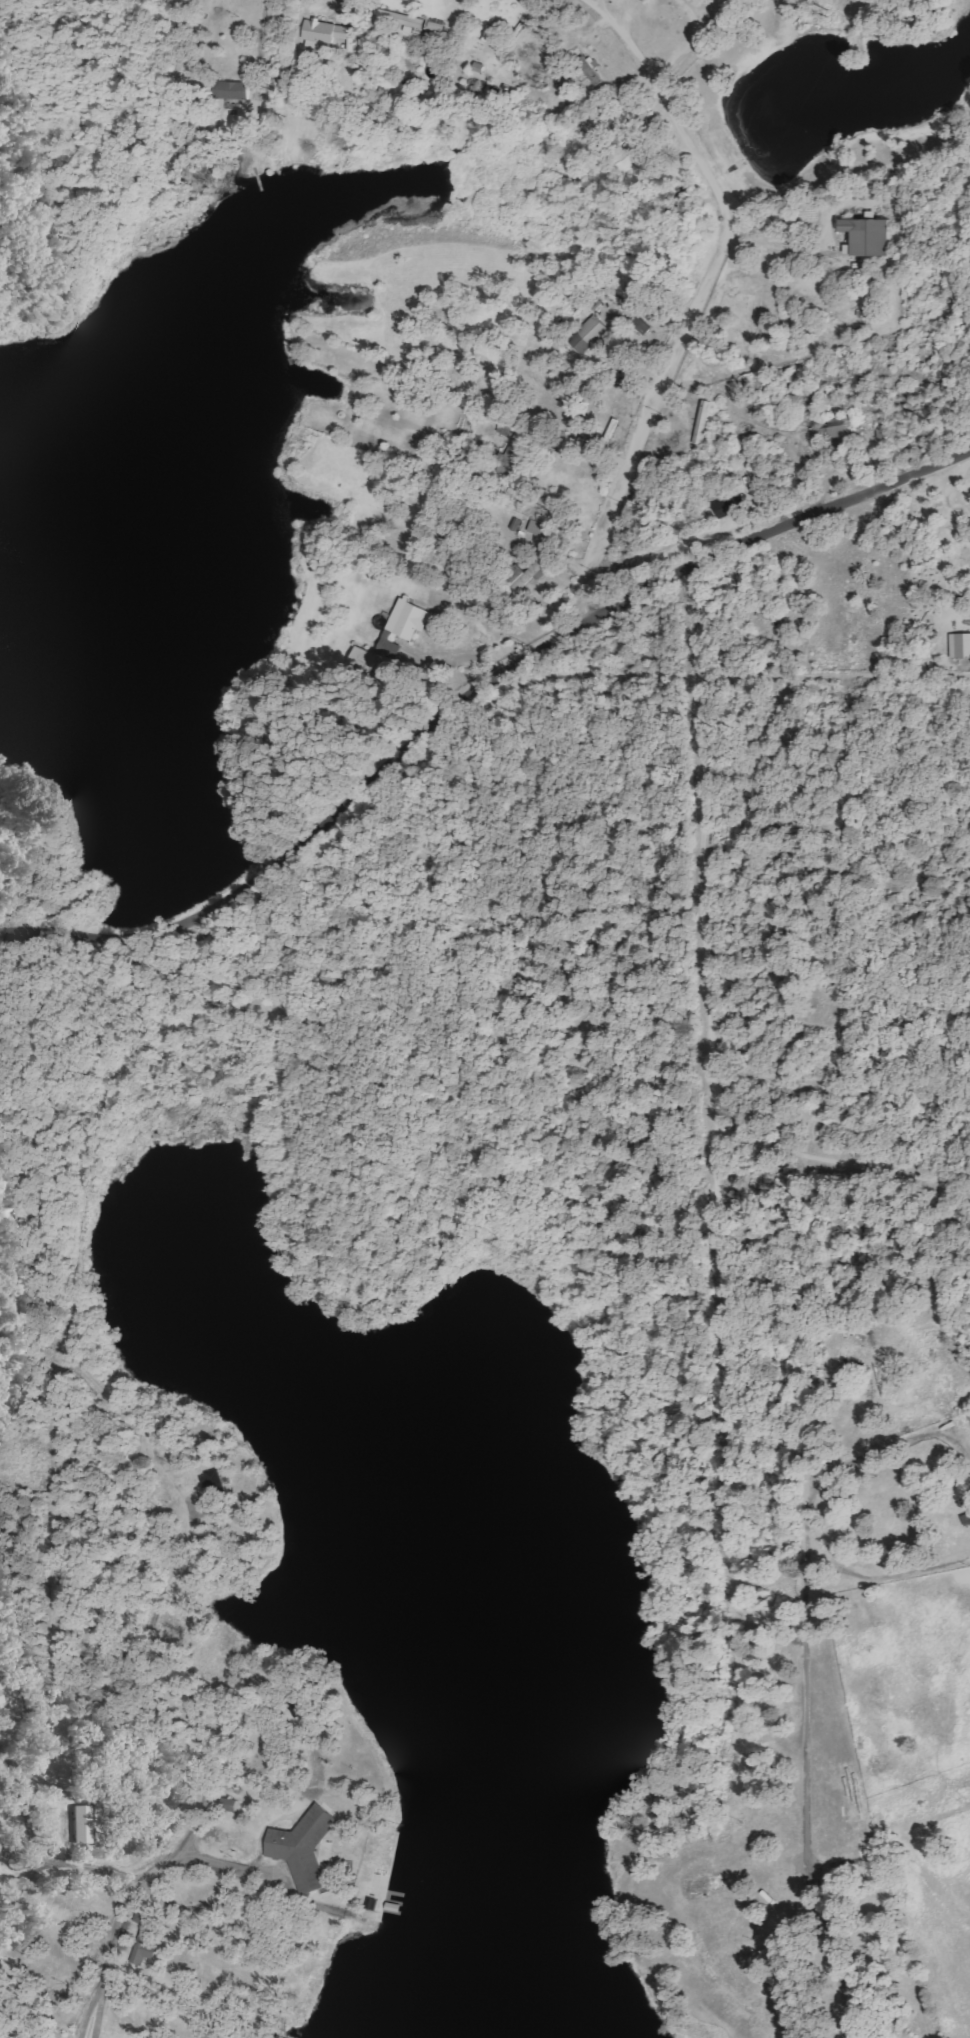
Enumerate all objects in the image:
building: (403, 19)
building: (327, 33)
road: (623, 40)
building: (591, 71)
building: (232, 90)
building: (871, 236)
road: (705, 295)
building: (640, 325)
building: (590, 334)
building: (842, 428)
building: (823, 433)
building: (732, 506)
building: (410, 619)
building: (960, 645)
building: (364, 658)
road: (469, 696)
building: (1, 1700)
building: (83, 1824)
building: (305, 1848)
road: (111, 1949)
building: (145, 1949)

